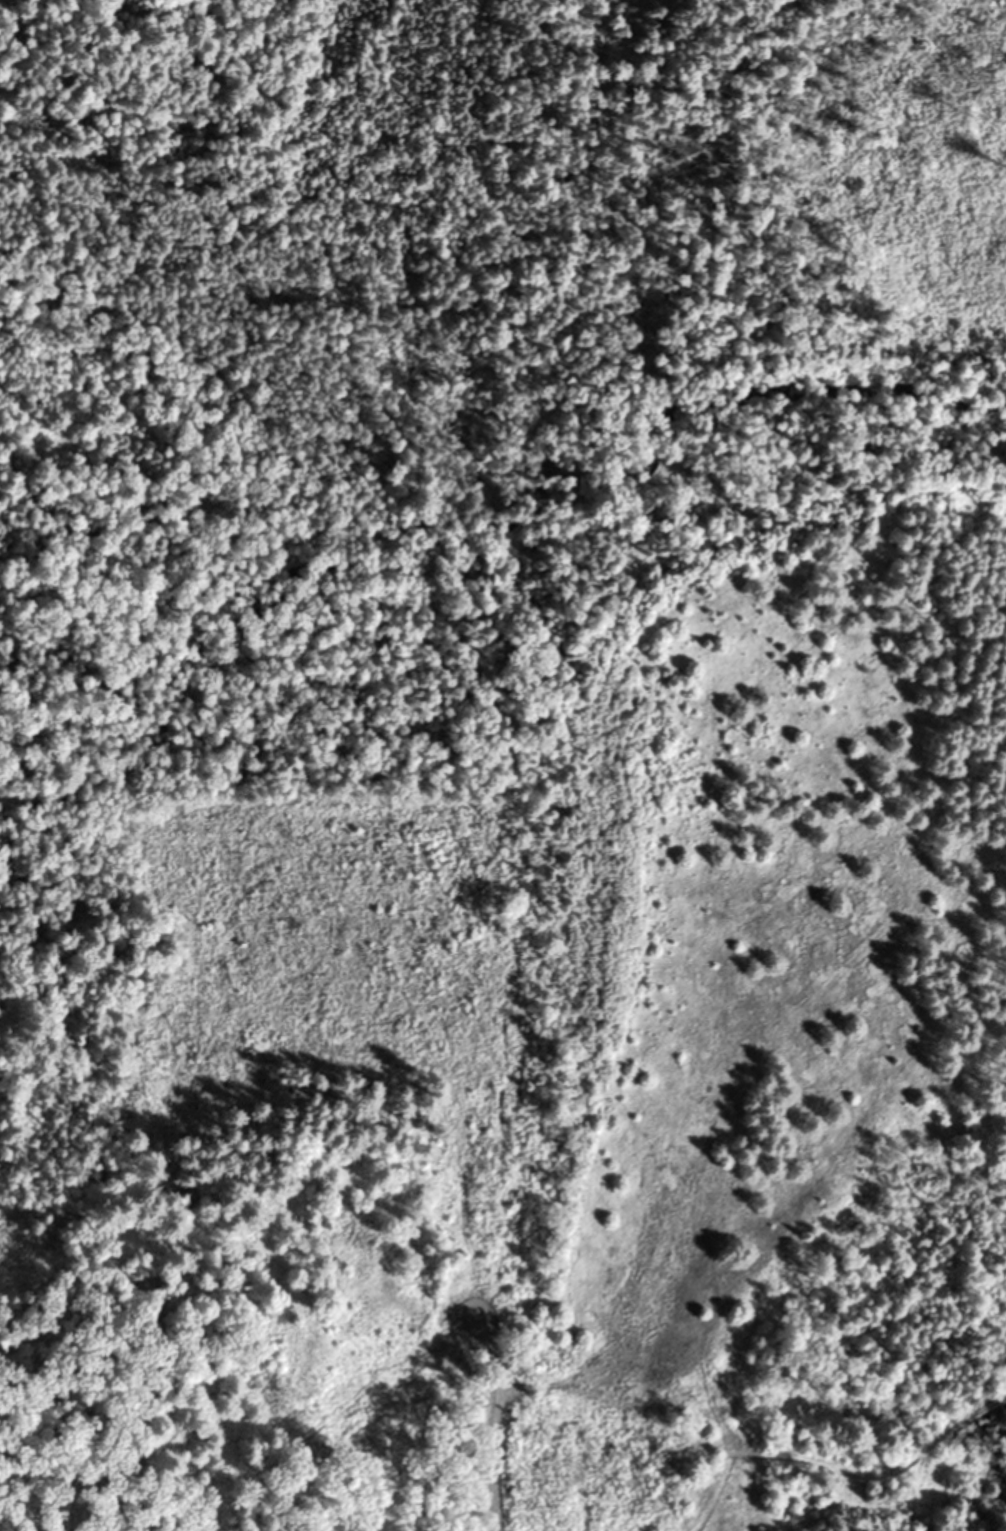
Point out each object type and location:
road: (406, 1159)
road: (711, 1445)
road: (482, 1463)

